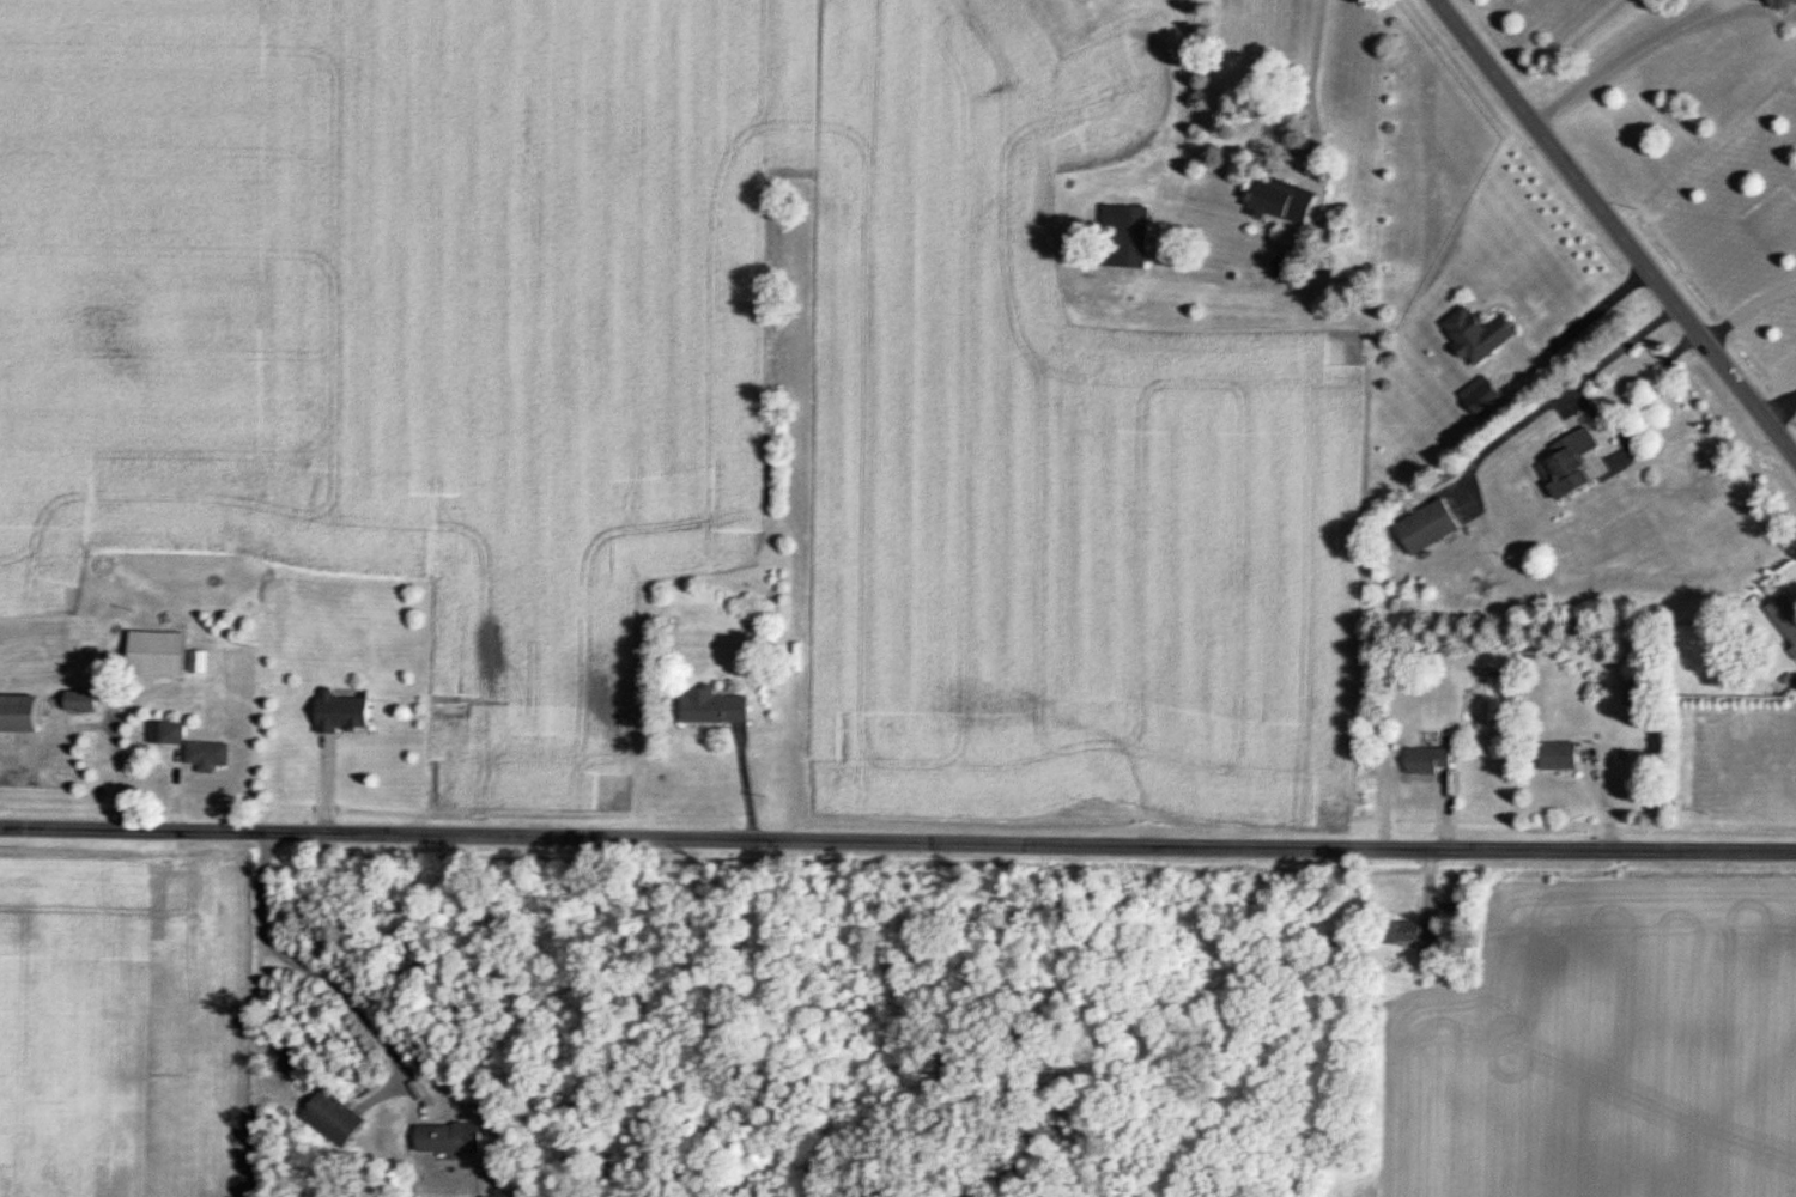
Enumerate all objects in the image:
building: (1767, 5)
road: (1316, 41)
road: (1620, 54)
road: (1293, 146)
building: (1274, 201)
road: (1615, 229)
building: (1120, 236)
road: (1746, 306)
road: (1586, 317)
building: (1473, 334)
road: (1780, 407)
road: (1595, 414)
building: (1564, 462)
building: (1424, 527)
building: (1782, 620)
building: (153, 655)
building: (78, 703)
building: (706, 707)
building: (338, 713)
building: (18, 715)
building: (163, 733)
building: (1555, 755)
building: (202, 757)
building: (1421, 760)
road: (897, 841)
building: (1403, 935)
road: (318, 973)
building: (329, 1117)
building: (442, 1136)

